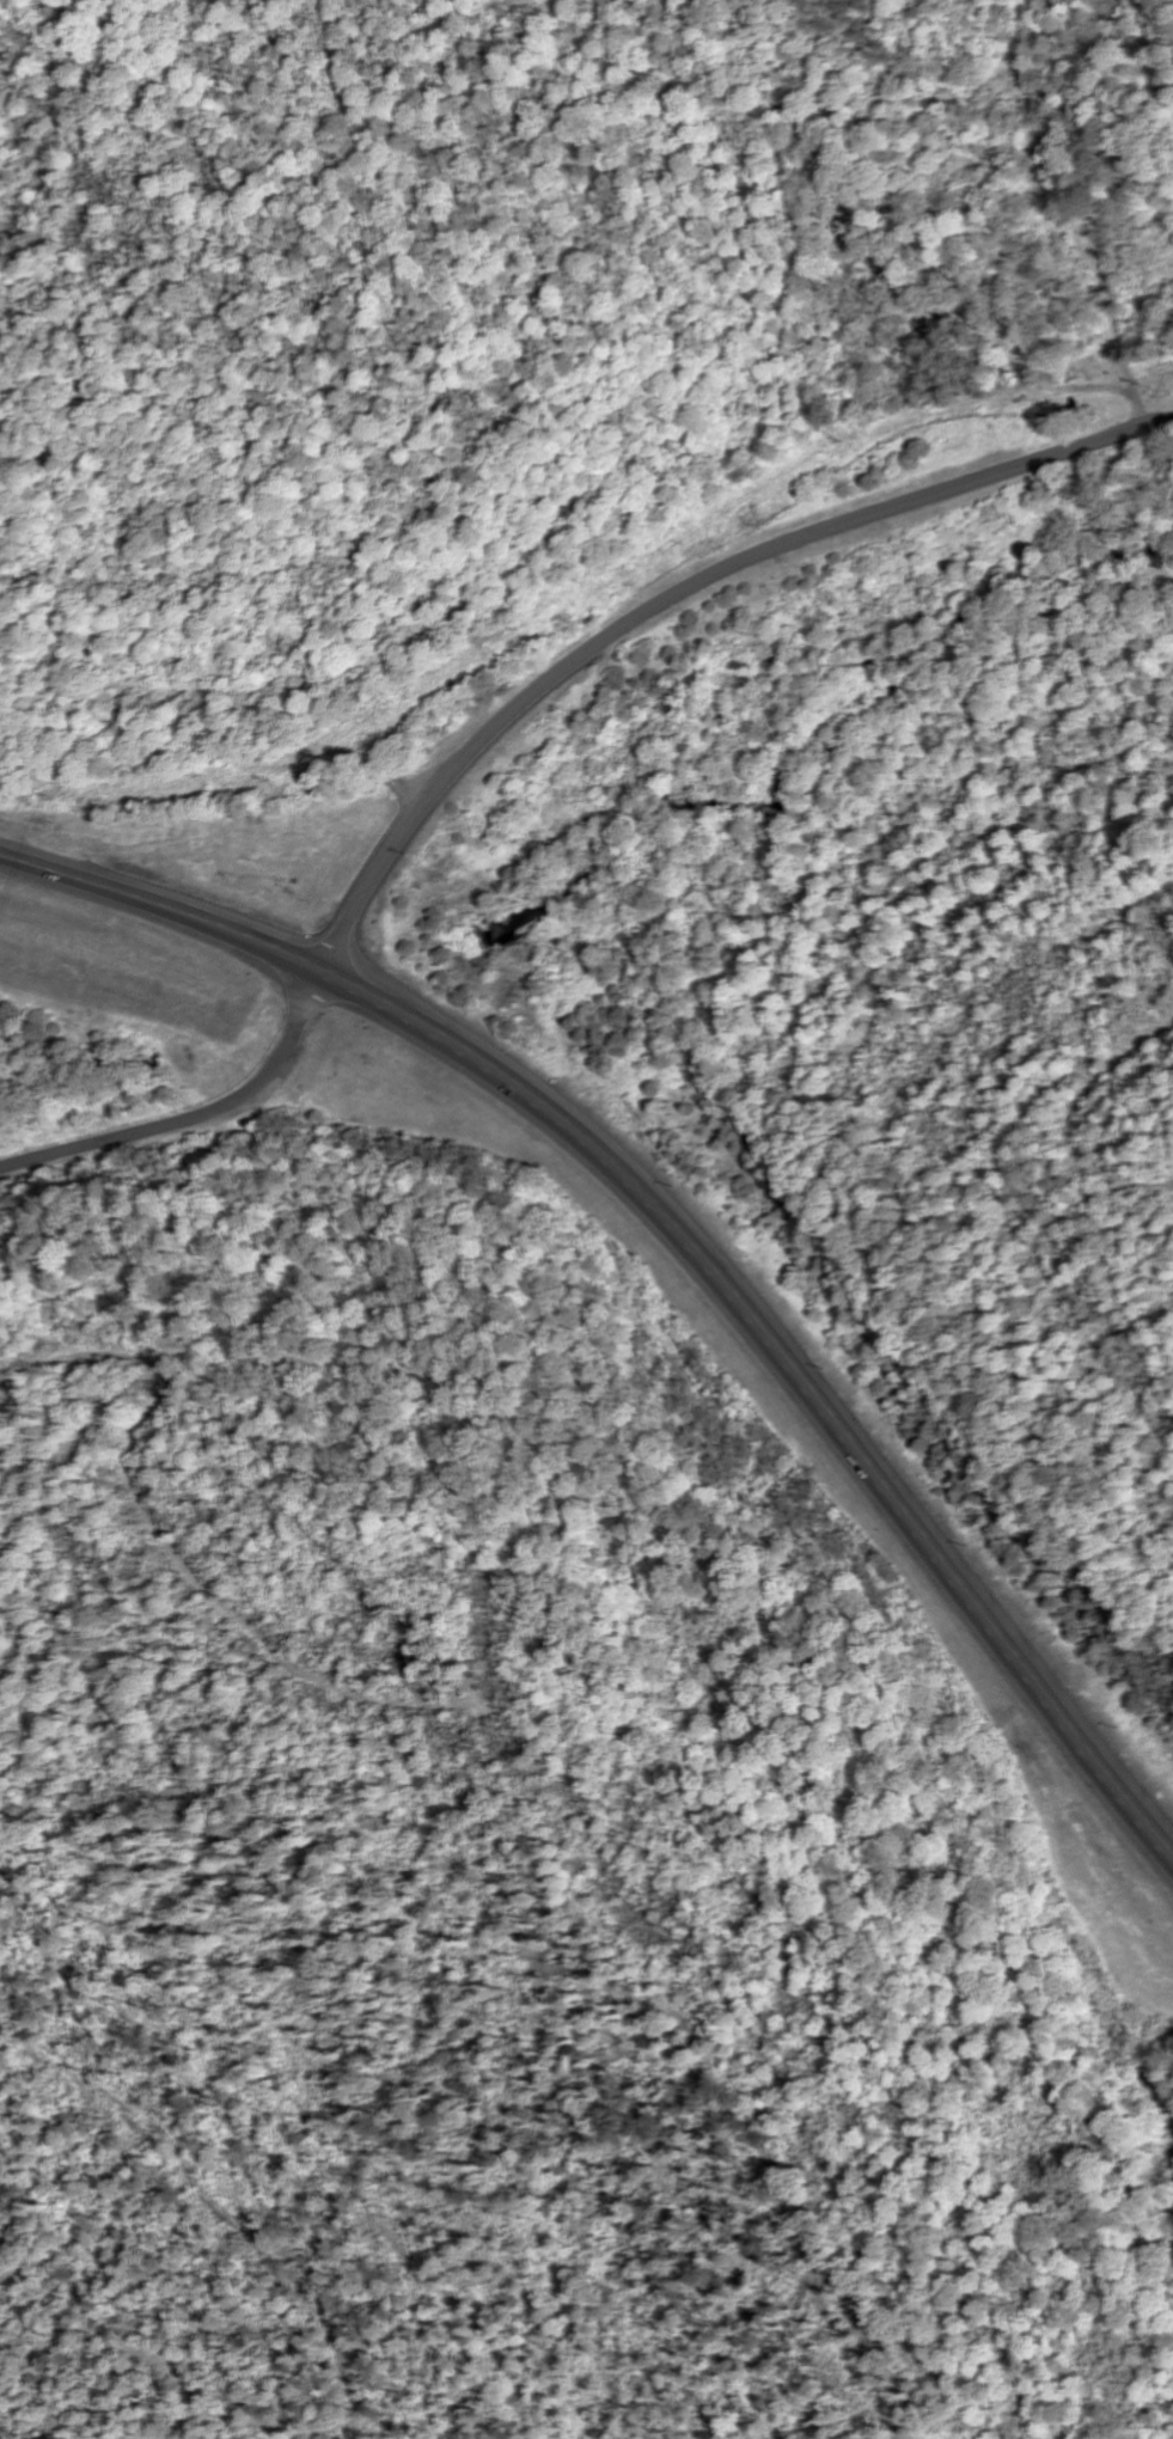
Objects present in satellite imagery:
road: (679, 592)
road: (198, 1118)
road: (682, 1223)

